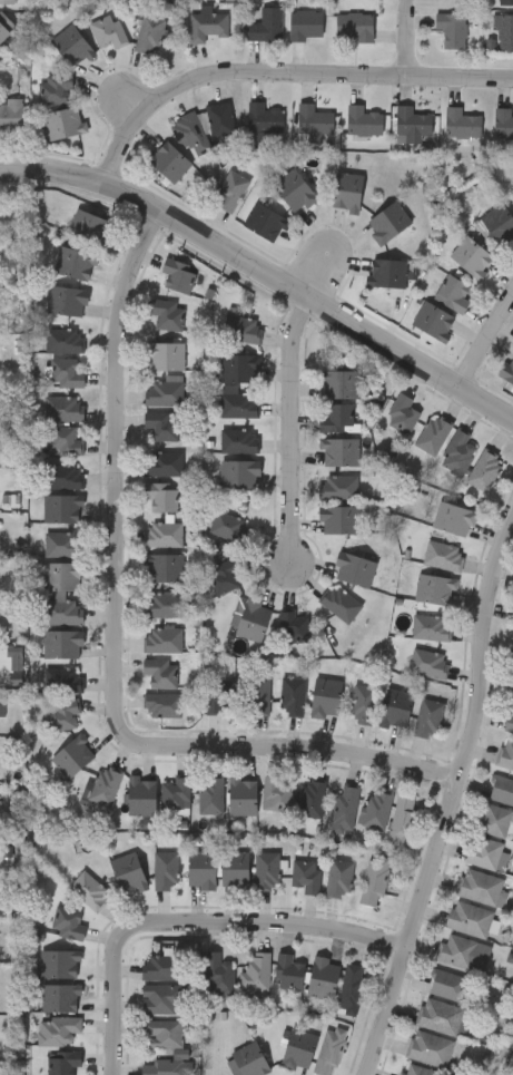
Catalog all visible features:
building: (457, 0)
building: (6, 1)
building: (505, 1)
building: (206, 23)
building: (265, 23)
building: (304, 23)
building: (354, 23)
building: (4, 26)
building: (450, 27)
building: (503, 28)
building: (106, 29)
building: (148, 32)
road: (404, 36)
building: (70, 45)
building: (0, 55)
road: (279, 71)
building: (52, 87)
building: (10, 114)
building: (263, 116)
building: (219, 117)
building: (361, 118)
building: (411, 119)
building: (312, 120)
building: (460, 120)
building: (502, 120)
building: (62, 123)
building: (189, 131)
building: (167, 158)
building: (229, 188)
building: (293, 188)
building: (345, 188)
building: (264, 219)
building: (386, 219)
building: (497, 222)
building: (90, 225)
building: (470, 254)
building: (76, 261)
building: (385, 270)
road: (263, 271)
building: (179, 274)
building: (451, 291)
building: (67, 299)
building: (166, 313)
building: (432, 319)
building: (243, 326)
building: (65, 339)
road: (487, 342)
building: (166, 354)
building: (240, 367)
building: (507, 367)
building: (68, 372)
building: (341, 383)
building: (165, 392)
building: (238, 402)
building: (65, 408)
building: (403, 412)
building: (337, 417)
building: (162, 426)
road: (289, 428)
building: (434, 433)
building: (62, 439)
building: (341, 451)
building: (458, 452)
building: (240, 458)
building: (165, 462)
building: (485, 469)
building: (65, 476)
road: (118, 478)
building: (339, 486)
building: (161, 496)
building: (63, 507)
building: (339, 518)
building: (455, 518)
building: (228, 524)
building: (164, 532)
building: (63, 543)
building: (444, 555)
building: (165, 566)
building: (355, 567)
building: (63, 575)
building: (226, 575)
building: (436, 588)
building: (342, 602)
building: (165, 603)
building: (65, 610)
building: (254, 617)
building: (295, 625)
building: (432, 626)
building: (164, 638)
building: (63, 643)
building: (430, 662)
building: (0, 670)
building: (161, 671)
building: (62, 678)
building: (259, 694)
building: (294, 695)
building: (221, 696)
building: (327, 696)
building: (1, 703)
building: (364, 703)
building: (164, 704)
building: (397, 706)
building: (65, 714)
building: (428, 717)
building: (509, 721)
road: (306, 752)
building: (506, 753)
building: (72, 755)
building: (106, 785)
building: (502, 789)
building: (176, 792)
building: (276, 792)
road: (458, 793)
building: (211, 794)
building: (244, 794)
building: (142, 795)
building: (313, 797)
building: (346, 808)
building: (377, 809)
building: (403, 819)
building: (495, 819)
building: (485, 851)
building: (236, 867)
building: (167, 869)
building: (203, 869)
building: (268, 870)
building: (129, 872)
building: (308, 874)
building: (341, 876)
building: (375, 880)
building: (481, 885)
building: (89, 889)
road: (279, 918)
building: (470, 918)
building: (69, 923)
building: (457, 950)
building: (60, 962)
building: (161, 967)
building: (256, 971)
building: (289, 971)
building: (218, 974)
building: (324, 976)
building: (450, 985)
building: (352, 988)
road: (115, 990)
building: (61, 997)
building: (161, 998)
building: (444, 1016)
building: (59, 1028)
building: (162, 1033)
building: (430, 1047)
building: (299, 1048)
building: (331, 1050)
building: (249, 1059)
building: (63, 1062)
building: (167, 1064)
building: (418, 1069)

